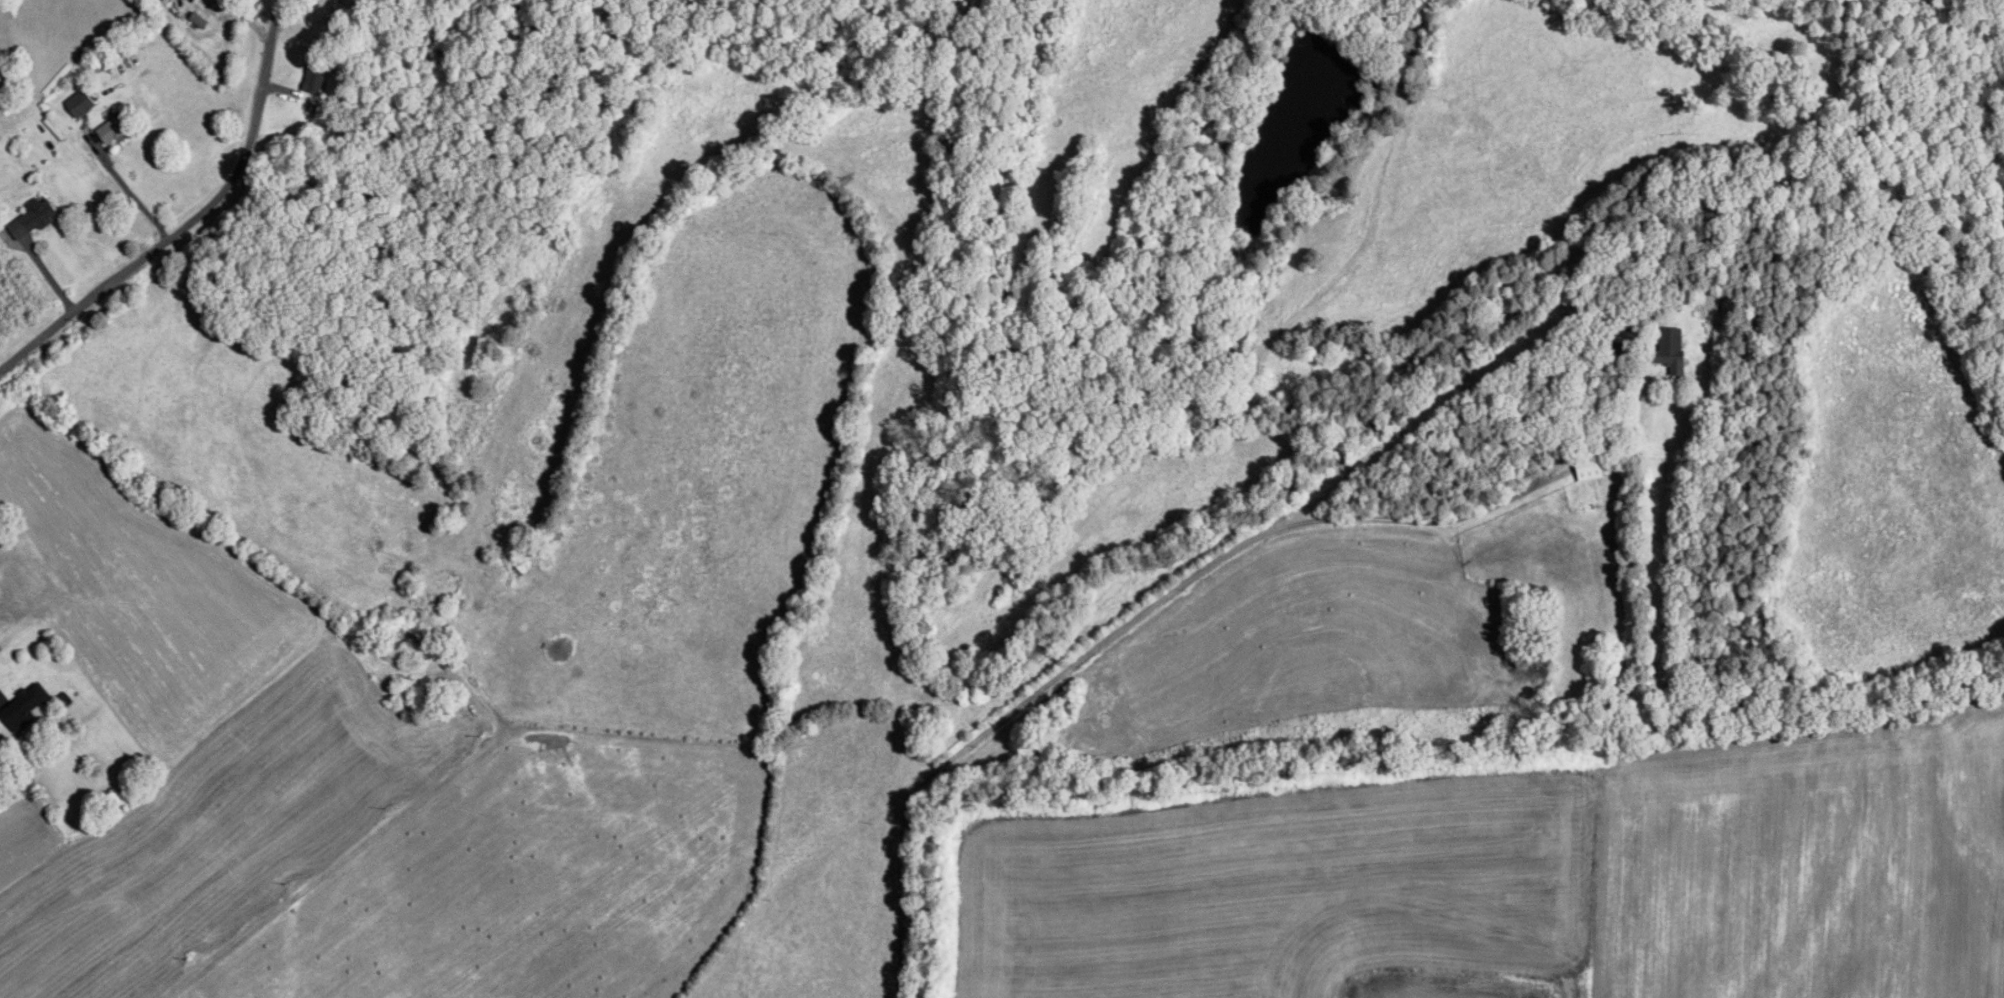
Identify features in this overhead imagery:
road: (185, 2)
building: (328, 13)
road: (246, 18)
building: (313, 81)
building: (80, 104)
building: (113, 129)
road: (129, 192)
road: (192, 217)
building: (32, 221)
building: (1671, 350)
building: (1588, 466)
road: (89, 567)
road: (1120, 629)
building: (23, 707)
road: (341, 853)

